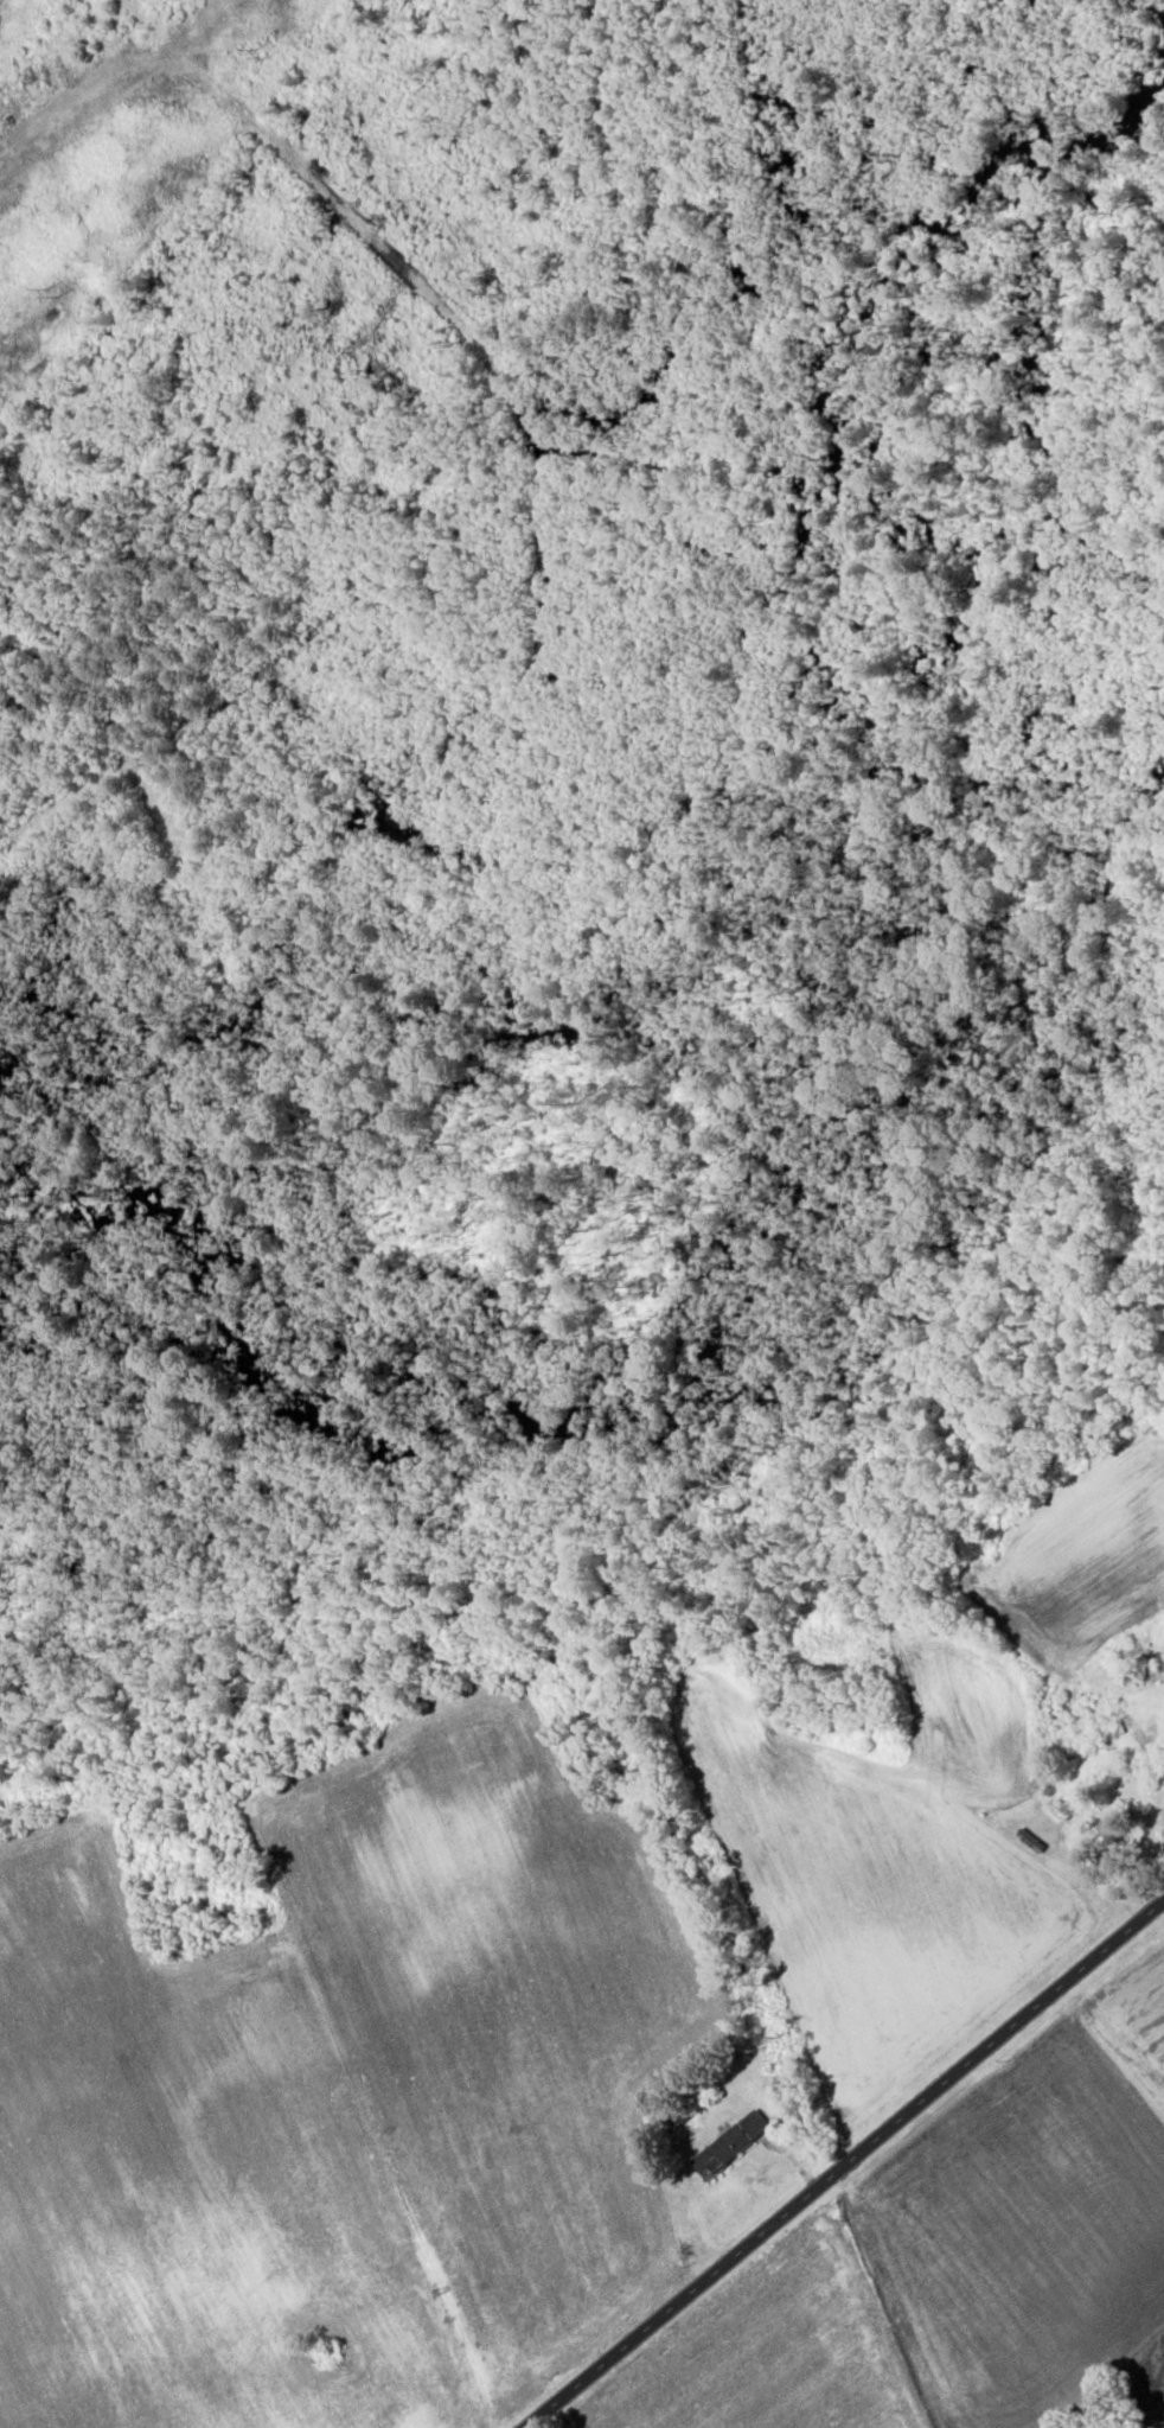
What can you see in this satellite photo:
power tower: (258, 56)
power tower: (47, 293)
building: (1027, 1843)
building: (725, 2146)
road: (842, 2163)

